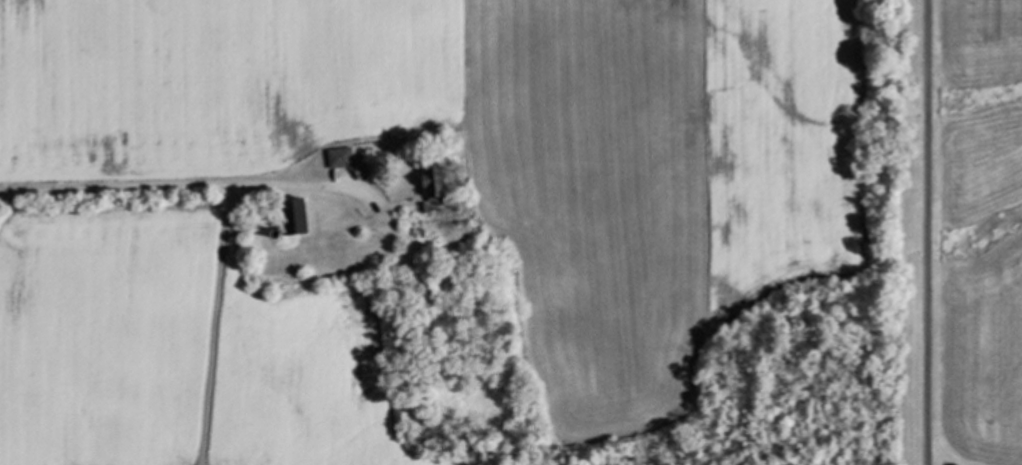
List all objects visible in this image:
building: (340, 157)
building: (436, 182)
road: (175, 187)
building: (296, 216)
crop: (979, 228)
road: (928, 232)
crop: (679, 239)
road: (211, 325)

